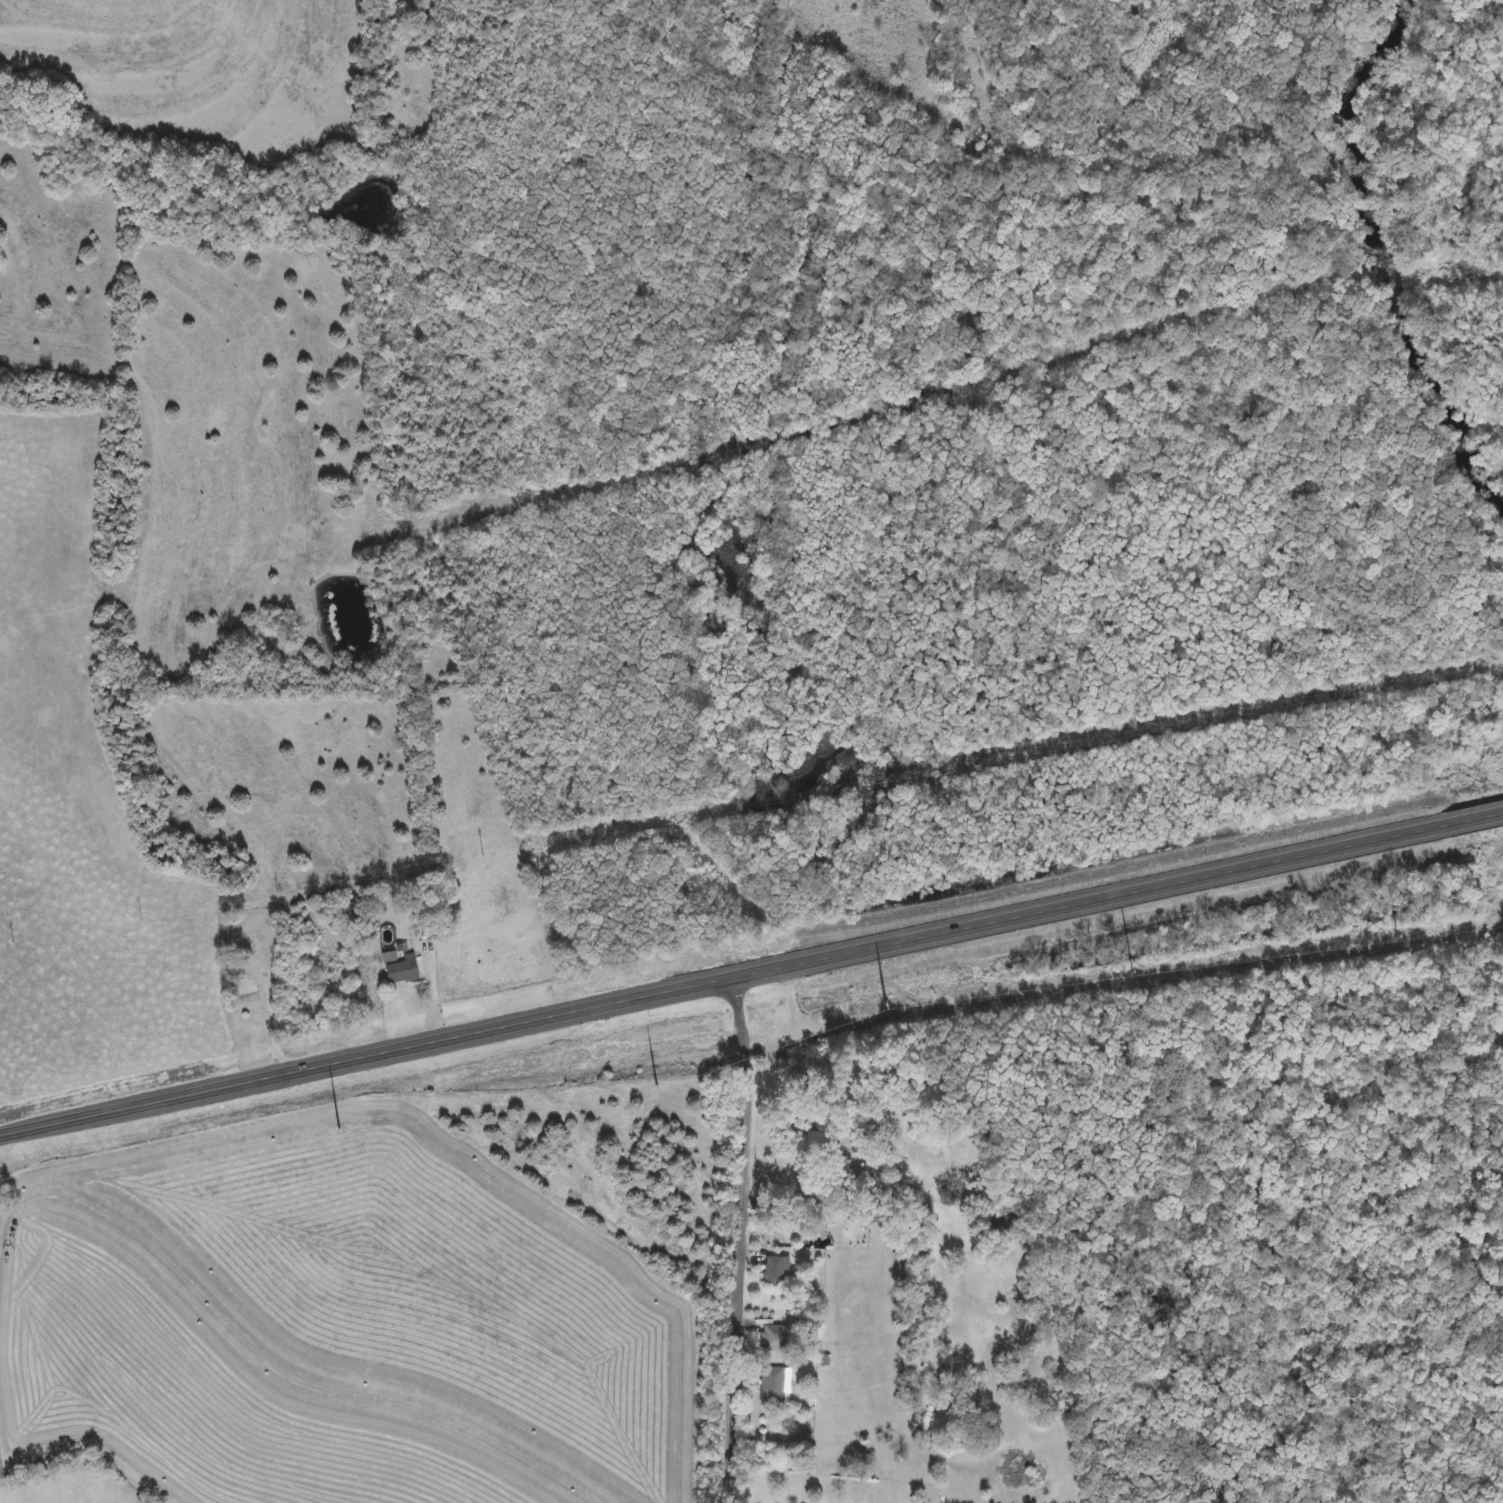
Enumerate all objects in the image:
building: (402, 970)
road: (750, 970)
building: (249, 1001)
road: (804, 1093)
building: (818, 1142)
road: (745, 1238)
building: (776, 1273)
building: (774, 1339)
building: (773, 1386)

